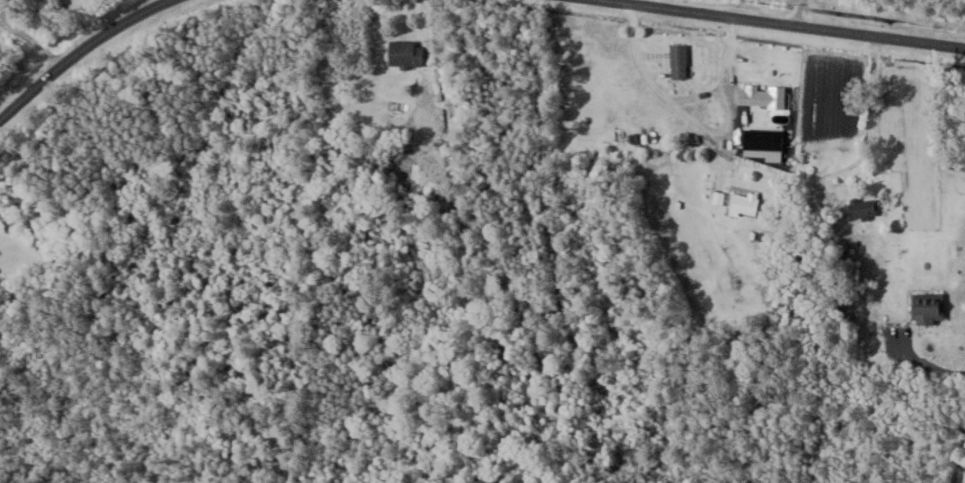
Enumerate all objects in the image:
building: (86, 0)
road: (780, 25)
building: (406, 52)
road: (79, 53)
building: (679, 60)
road: (666, 90)
building: (762, 95)
road: (865, 150)
building: (745, 203)
building: (863, 207)
building: (928, 306)
road: (922, 361)

